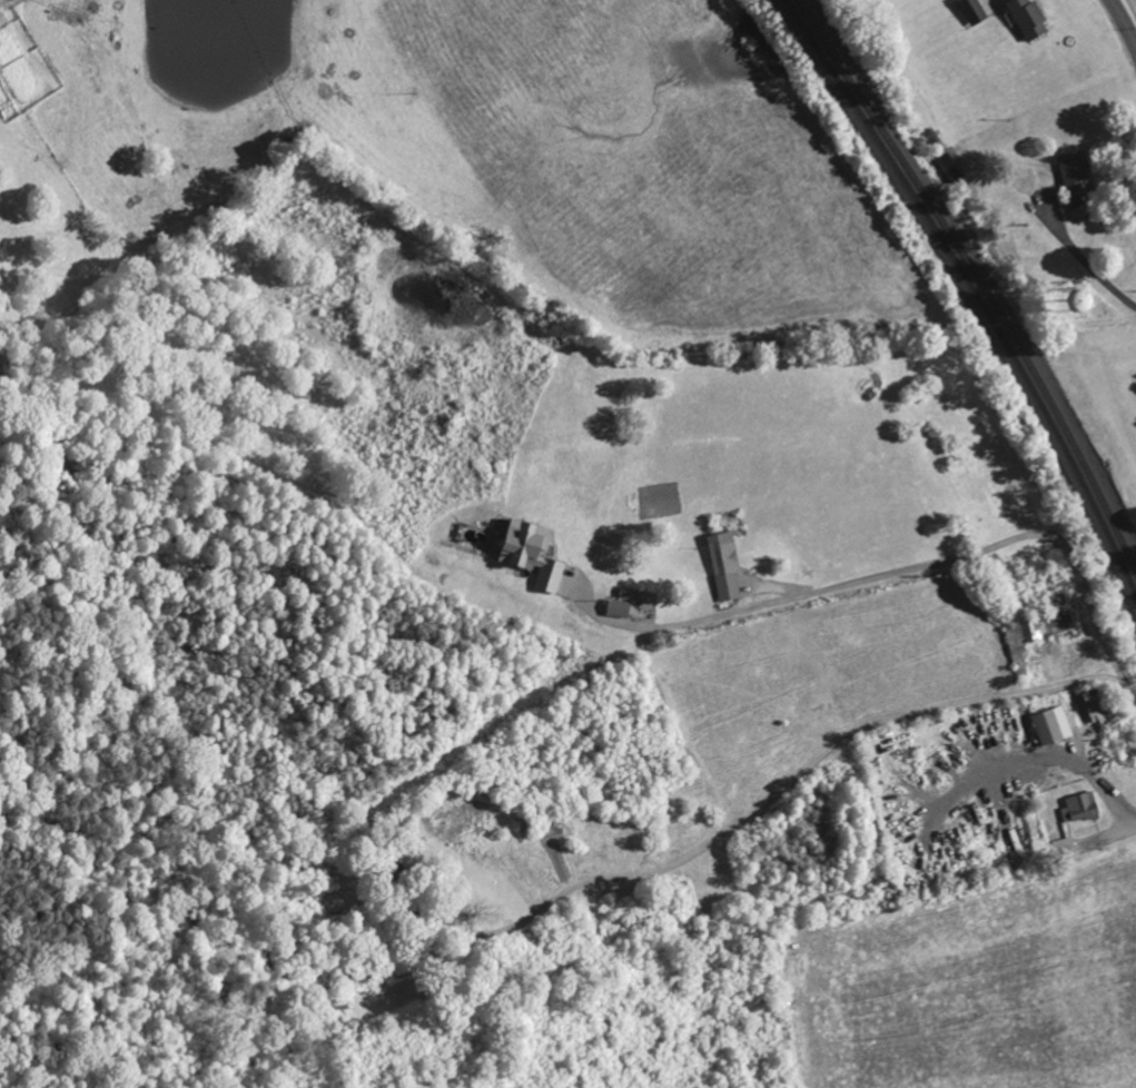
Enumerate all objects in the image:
building: (974, 12)
road: (1126, 18)
building: (1031, 19)
building: (1, 70)
building: (1076, 174)
railway: (978, 277)
railway: (974, 289)
building: (727, 565)
building: (621, 607)
road: (1099, 626)
building: (1036, 633)
building: (1049, 726)
building: (1080, 807)

